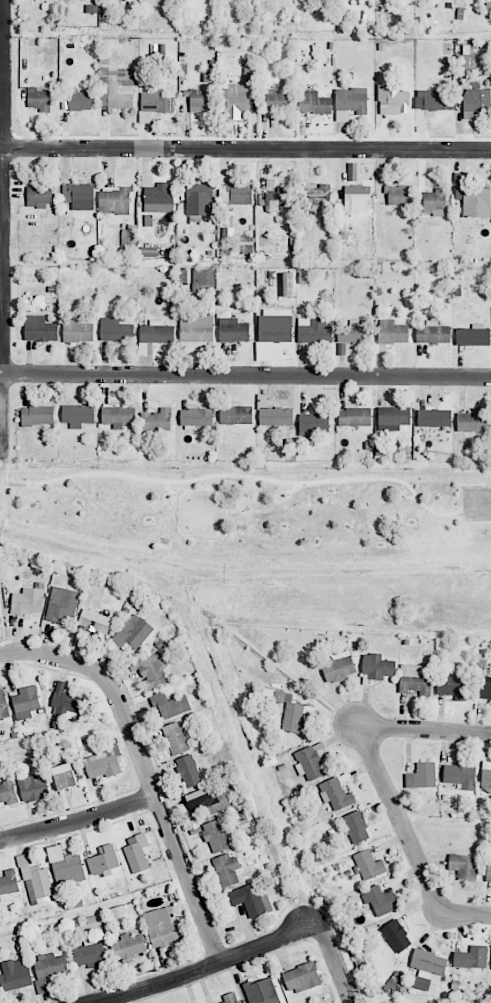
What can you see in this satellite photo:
building: (467, 57)
building: (115, 87)
building: (238, 93)
building: (39, 99)
building: (476, 99)
building: (79, 100)
building: (200, 100)
building: (277, 100)
building: (393, 100)
building: (433, 100)
building: (155, 102)
building: (349, 102)
building: (313, 103)
road: (245, 149)
building: (235, 194)
building: (79, 195)
building: (398, 195)
building: (38, 196)
building: (315, 196)
building: (357, 197)
building: (158, 198)
building: (472, 198)
building: (114, 199)
building: (199, 199)
building: (277, 199)
building: (432, 202)
building: (148, 220)
road: (2, 230)
building: (129, 235)
building: (148, 252)
building: (305, 277)
building: (203, 280)
building: (287, 284)
building: (275, 325)
building: (39, 329)
building: (115, 329)
building: (233, 330)
building: (313, 330)
building: (77, 331)
building: (196, 331)
building: (156, 332)
building: (354, 332)
building: (392, 332)
building: (432, 333)
building: (473, 336)
road: (245, 375)
building: (274, 414)
building: (37, 415)
building: (77, 415)
building: (236, 415)
building: (117, 416)
building: (196, 417)
building: (354, 417)
building: (393, 418)
building: (434, 418)
building: (156, 420)
building: (472, 421)
building: (313, 424)
road: (241, 475)
road: (8, 486)
road: (478, 502)
parking lot: (476, 503)
road: (2, 526)
park: (269, 537)
building: (28, 601)
building: (62, 604)
road: (4, 621)
building: (94, 621)
building: (132, 632)
road: (35, 651)
building: (377, 666)
building: (338, 667)
building: (153, 670)
building: (415, 679)
building: (452, 687)
building: (483, 687)
building: (26, 702)
building: (66, 702)
building: (169, 704)
building: (3, 705)
building: (294, 719)
road: (424, 729)
building: (176, 738)
building: (104, 762)
building: (309, 763)
building: (188, 771)
building: (460, 775)
building: (486, 775)
building: (64, 776)
building: (422, 776)
building: (33, 787)
building: (8, 793)
building: (335, 794)
road: (159, 800)
building: (206, 801)
road: (79, 821)
building: (356, 827)
building: (217, 834)
road: (409, 841)
building: (137, 852)
building: (103, 860)
building: (368, 865)
building: (464, 866)
building: (66, 867)
building: (227, 869)
building: (488, 874)
building: (36, 882)
building: (8, 884)
building: (251, 899)
building: (379, 900)
building: (162, 928)
building: (396, 936)
building: (128, 947)
building: (90, 954)
building: (471, 958)
road: (336, 962)
building: (50, 966)
road: (210, 967)
building: (427, 967)
building: (15, 975)
building: (302, 978)
building: (261, 991)
building: (230, 998)

